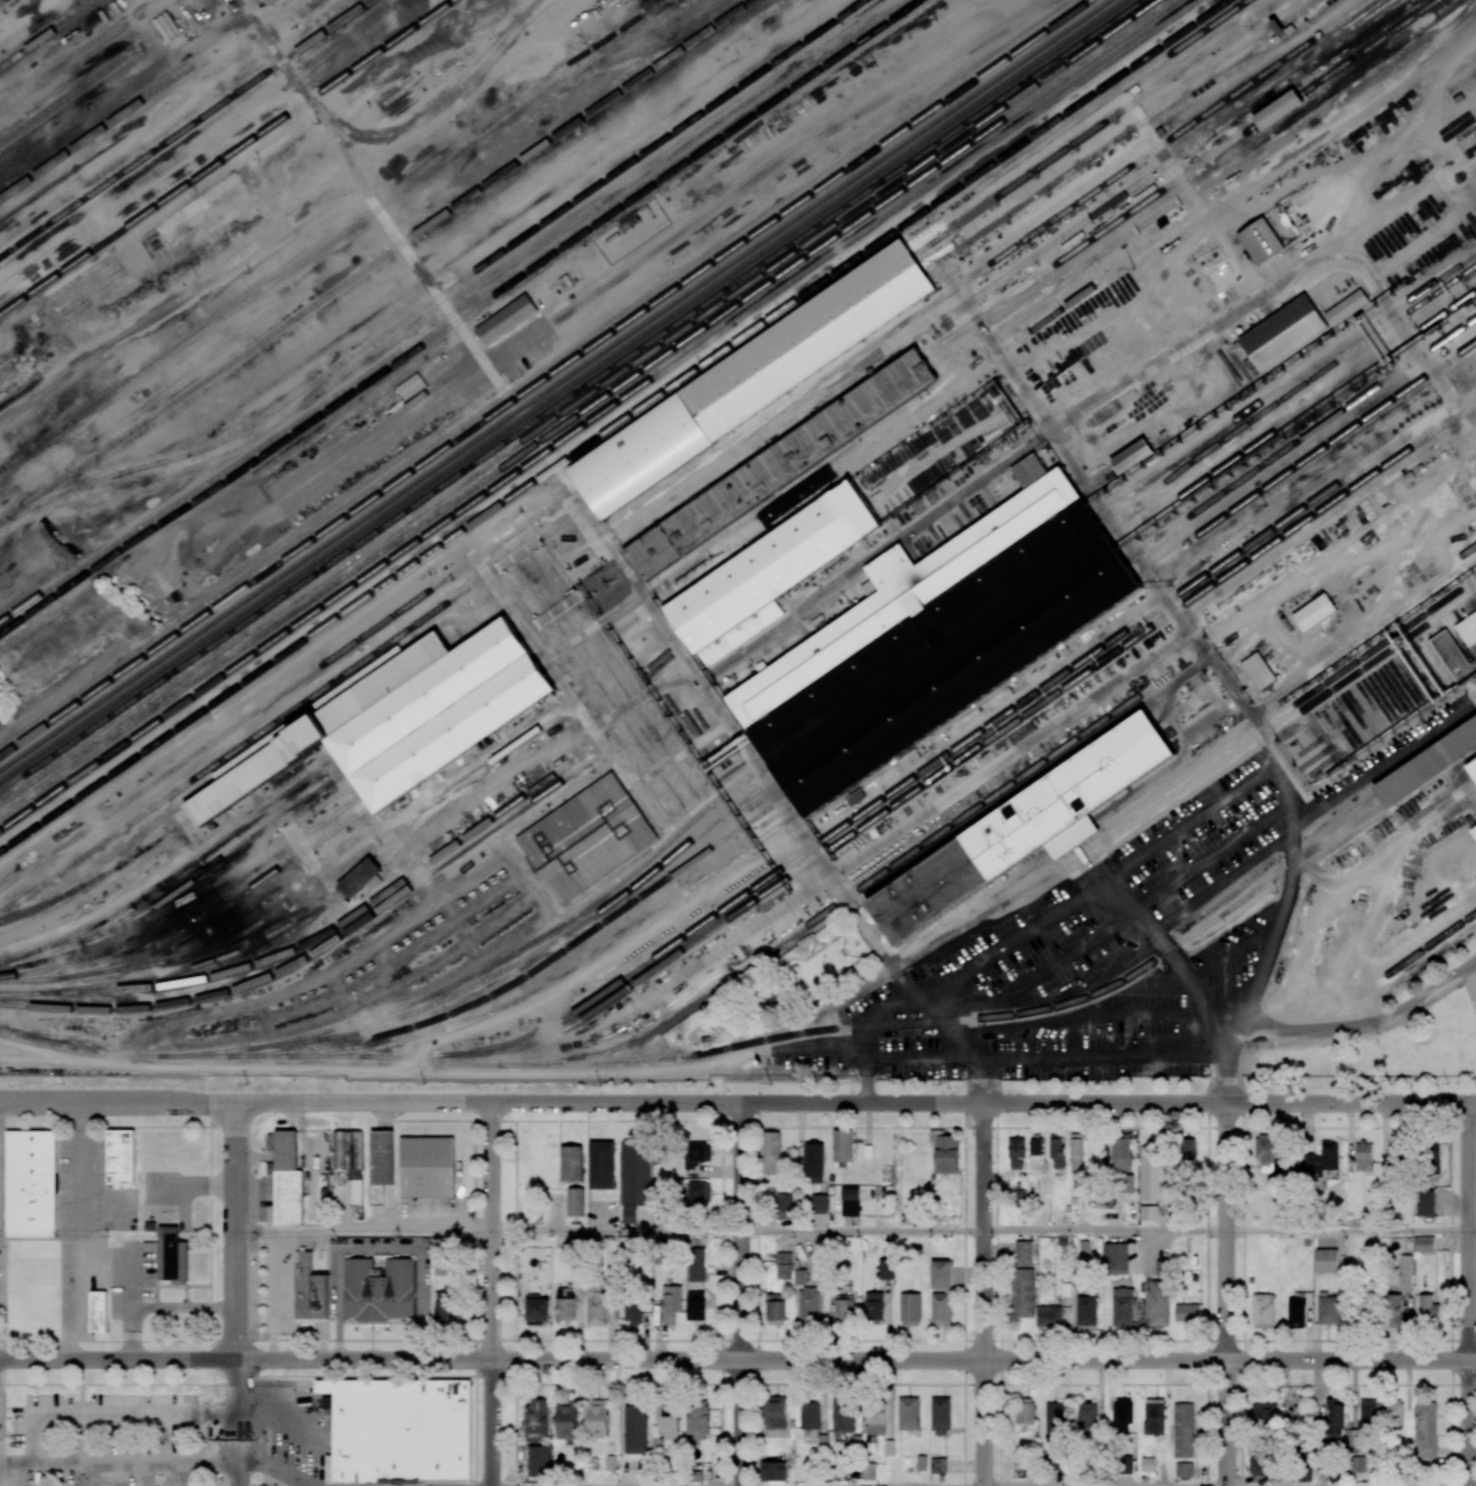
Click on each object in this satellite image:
railway: (0, 0)
railway: (424, 16)
railway: (429, 16)
building: (1281, 27)
railway: (48, 33)
railway: (598, 55)
railway: (634, 56)
railway: (1457, 85)
railway: (67, 95)
railway: (143, 99)
railway: (715, 101)
railway: (724, 104)
building: (1282, 110)
railway: (1461, 118)
railway: (1464, 124)
railway: (1098, 125)
railway: (183, 128)
railway: (1466, 132)
railway: (1121, 134)
railway: (1469, 139)
railway: (203, 174)
railway: (1181, 176)
railway: (1247, 180)
railway: (1198, 185)
building: (1263, 241)
railway: (375, 260)
railway: (963, 280)
railway: (258, 289)
railway: (984, 289)
building: (542, 298)
building: (1348, 307)
railway: (451, 312)
railway: (460, 318)
building: (506, 320)
building: (1285, 332)
railway: (1355, 347)
railway: (1311, 367)
railway: (537, 372)
railway: (546, 378)
building: (754, 379)
railway: (554, 383)
railway: (562, 389)
railway: (298, 391)
railway: (571, 395)
railway: (579, 402)
railway: (587, 407)
railway: (599, 415)
railway: (1296, 415)
railway: (613, 425)
railway: (1302, 437)
railway: (777, 455)
railway: (1191, 455)
building: (1138, 456)
railway: (1308, 457)
building: (784, 465)
railway: (787, 470)
building: (1033, 472)
railway: (904, 476)
railway: (1170, 476)
railway: (1123, 497)
building: (799, 499)
railway: (1466, 552)
railway: (775, 565)
building: (890, 571)
building: (772, 574)
railway: (605, 575)
railway: (671, 579)
railway: (1354, 584)
railway: (615, 589)
railway: (1317, 610)
railway: (1151, 612)
railway: (1465, 613)
building: (1317, 614)
railway: (480, 616)
railway: (1459, 617)
railway: (1472, 623)
railway: (1154, 624)
railway: (529, 628)
railway: (1441, 628)
railway: (931, 630)
building: (1469, 630)
railway: (1436, 631)
railway: (1469, 632)
railway: (1430, 635)
railway: (940, 643)
building: (941, 644)
railway: (655, 648)
railway: (543, 649)
railway: (1458, 651)
railway: (1452, 655)
railway: (950, 656)
building: (1453, 658)
railway: (1446, 659)
railway: (1436, 661)
railway: (552, 662)
railway: (1431, 665)
railway: (1425, 668)
building: (1260, 672)
railway: (1420, 672)
railway: (560, 673)
railway: (961, 673)
railway: (1415, 676)
railway: (1410, 679)
railway: (1404, 683)
railway: (1399, 687)
railway: (973, 690)
railway: (1394, 690)
railway: (1388, 694)
railway: (430, 697)
railway: (1383, 697)
railway: (1377, 701)
railway: (1372, 704)
railway: (1367, 708)
railway: (1362, 711)
railway: (441, 712)
railway: (1356, 715)
building: (443, 716)
railway: (243, 719)
railway: (1351, 719)
railway: (1346, 722)
railway: (1341, 726)
railway: (321, 727)
building: (322, 729)
railway: (1335, 729)
railway: (453, 730)
railway: (1330, 733)
railway: (1291, 735)
railway: (526, 736)
railway: (1325, 736)
railway: (250, 740)
railway: (1295, 741)
railway: (461, 742)
railway: (1298, 746)
railway: (1245, 749)
railway: (1302, 751)
railway: (1308, 760)
railway: (1429, 760)
building: (906, 762)
railway: (739, 764)
building: (1431, 767)
road: (1378, 768)
building: (1475, 768)
railway: (1314, 769)
railway: (1432, 771)
railway: (747, 776)
railway: (757, 790)
railway: (769, 806)
road: (1212, 811)
railway: (421, 816)
building: (1474, 830)
building: (1028, 831)
railway: (1110, 831)
building: (588, 840)
railway: (1299, 850)
railway: (132, 856)
railway: (1304, 856)
railway: (222, 859)
building: (906, 867)
railway: (177, 873)
railway: (361, 875)
railway: (92, 876)
building: (361, 876)
road: (1222, 885)
railway: (388, 891)
railway: (183, 899)
railway: (225, 906)
road: (1124, 907)
railway: (32, 908)
railway: (279, 908)
railway: (192, 909)
road: (968, 916)
road: (871, 938)
railway: (333, 941)
railway: (1432, 942)
railway: (45, 950)
railway: (514, 951)
railway: (248, 955)
railway: (518, 961)
railway: (643, 965)
railway: (575, 966)
railway: (646, 973)
railway: (32, 979)
railway: (513, 982)
railway: (68, 990)
road: (1054, 1001)
railway: (684, 1010)
railway: (984, 1017)
road: (1356, 1029)
road: (951, 1046)
railway: (82, 1049)
railway: (218, 1050)
railway: (279, 1054)
railway: (345, 1054)
railway: (206, 1055)
railway: (409, 1055)
road: (907, 1056)
railway: (438, 1061)
railway: (613, 1064)
road: (737, 1102)
building: (843, 1145)
building: (1188, 1149)
building: (1057, 1150)
building: (1076, 1151)
building: (771, 1152)
building: (1266, 1152)
building: (1016, 1153)
building: (1120, 1153)
building: (697, 1154)
building: (1037, 1154)
building: (1363, 1154)
building: (120, 1157)
building: (383, 1157)
building: (1431, 1157)
building: (350, 1161)
building: (1319, 1161)
building: (814, 1162)
building: (571, 1163)
building: (602, 1165)
building: (428, 1167)
building: (635, 1172)
building: (1149, 1173)
building: (31, 1183)
building: (1125, 1183)
building: (699, 1192)
building: (1020, 1194)
building: (289, 1198)
building: (575, 1201)
building: (850, 1202)
building: (1425, 1203)
building: (818, 1204)
building: (783, 1205)
building: (1148, 1212)
building: (628, 1215)
road: (365, 1231)
road: (617, 1231)
road: (863, 1231)
road: (1105, 1231)
road: (1348, 1231)
road: (79, 1232)
road: (1473, 1232)
building: (625, 1244)
building: (1424, 1244)
building: (163, 1248)
building: (1024, 1254)
building: (172, 1256)
building: (1118, 1259)
building: (1326, 1260)
building: (183, 1263)
building: (696, 1264)
building: (783, 1265)
building: (444, 1266)
building: (885, 1268)
building: (1405, 1273)
building: (941, 1276)
building: (800, 1277)
road: (237, 1282)
building: (310, 1289)
building: (379, 1289)
building: (1023, 1292)
road: (493, 1294)
road: (742, 1294)
road: (984, 1294)
road: (997, 1294)
road: (1226, 1294)
road: (1469, 1294)
building: (670, 1303)
building: (1158, 1303)
building: (565, 1304)
building: (696, 1305)
building: (810, 1306)
building: (873, 1306)
building: (444, 1308)
building: (596, 1308)
building: (844, 1308)
building: (911, 1308)
building: (1122, 1308)
building: (1298, 1308)
building: (1427, 1308)
building: (632, 1309)
building: (775, 1309)
building: (1328, 1309)
building: (537, 1310)
building: (942, 1310)
building: (97, 1311)
building: (1263, 1311)
building: (1392, 1311)
building: (1087, 1313)
building: (1189, 1313)
building: (1049, 1316)
road: (738, 1360)
road: (118, 1383)
building: (1024, 1410)
building: (909, 1412)
building: (1264, 1412)
building: (776, 1413)
building: (1393, 1414)
building: (809, 1415)
building: (842, 1415)
building: (1122, 1415)
road: (111, 1416)
building: (941, 1416)
building: (1154, 1416)
building: (597, 1417)
building: (1087, 1417)
building: (1335, 1418)
building: (536, 1420)
building: (567, 1420)
building: (876, 1420)
building: (697, 1421)
building: (668, 1422)
building: (1362, 1423)
building: (1055, 1424)
building: (636, 1427)
building: (400, 1428)
building: (1426, 1428)
building: (1183, 1430)
building: (822, 1441)
building: (857, 1441)
building: (890, 1446)
building: (539, 1459)
road: (154, 1460)
building: (921, 1462)
building: (1022, 1464)
building: (1126, 1464)
building: (1147, 1464)
building: (1258, 1464)
building: (1356, 1464)
building: (938, 1465)
building: (1184, 1469)
building: (868, 1470)
building: (773, 1471)
building: (1305, 1474)
building: (942, 1478)
road: (237, 1483)

